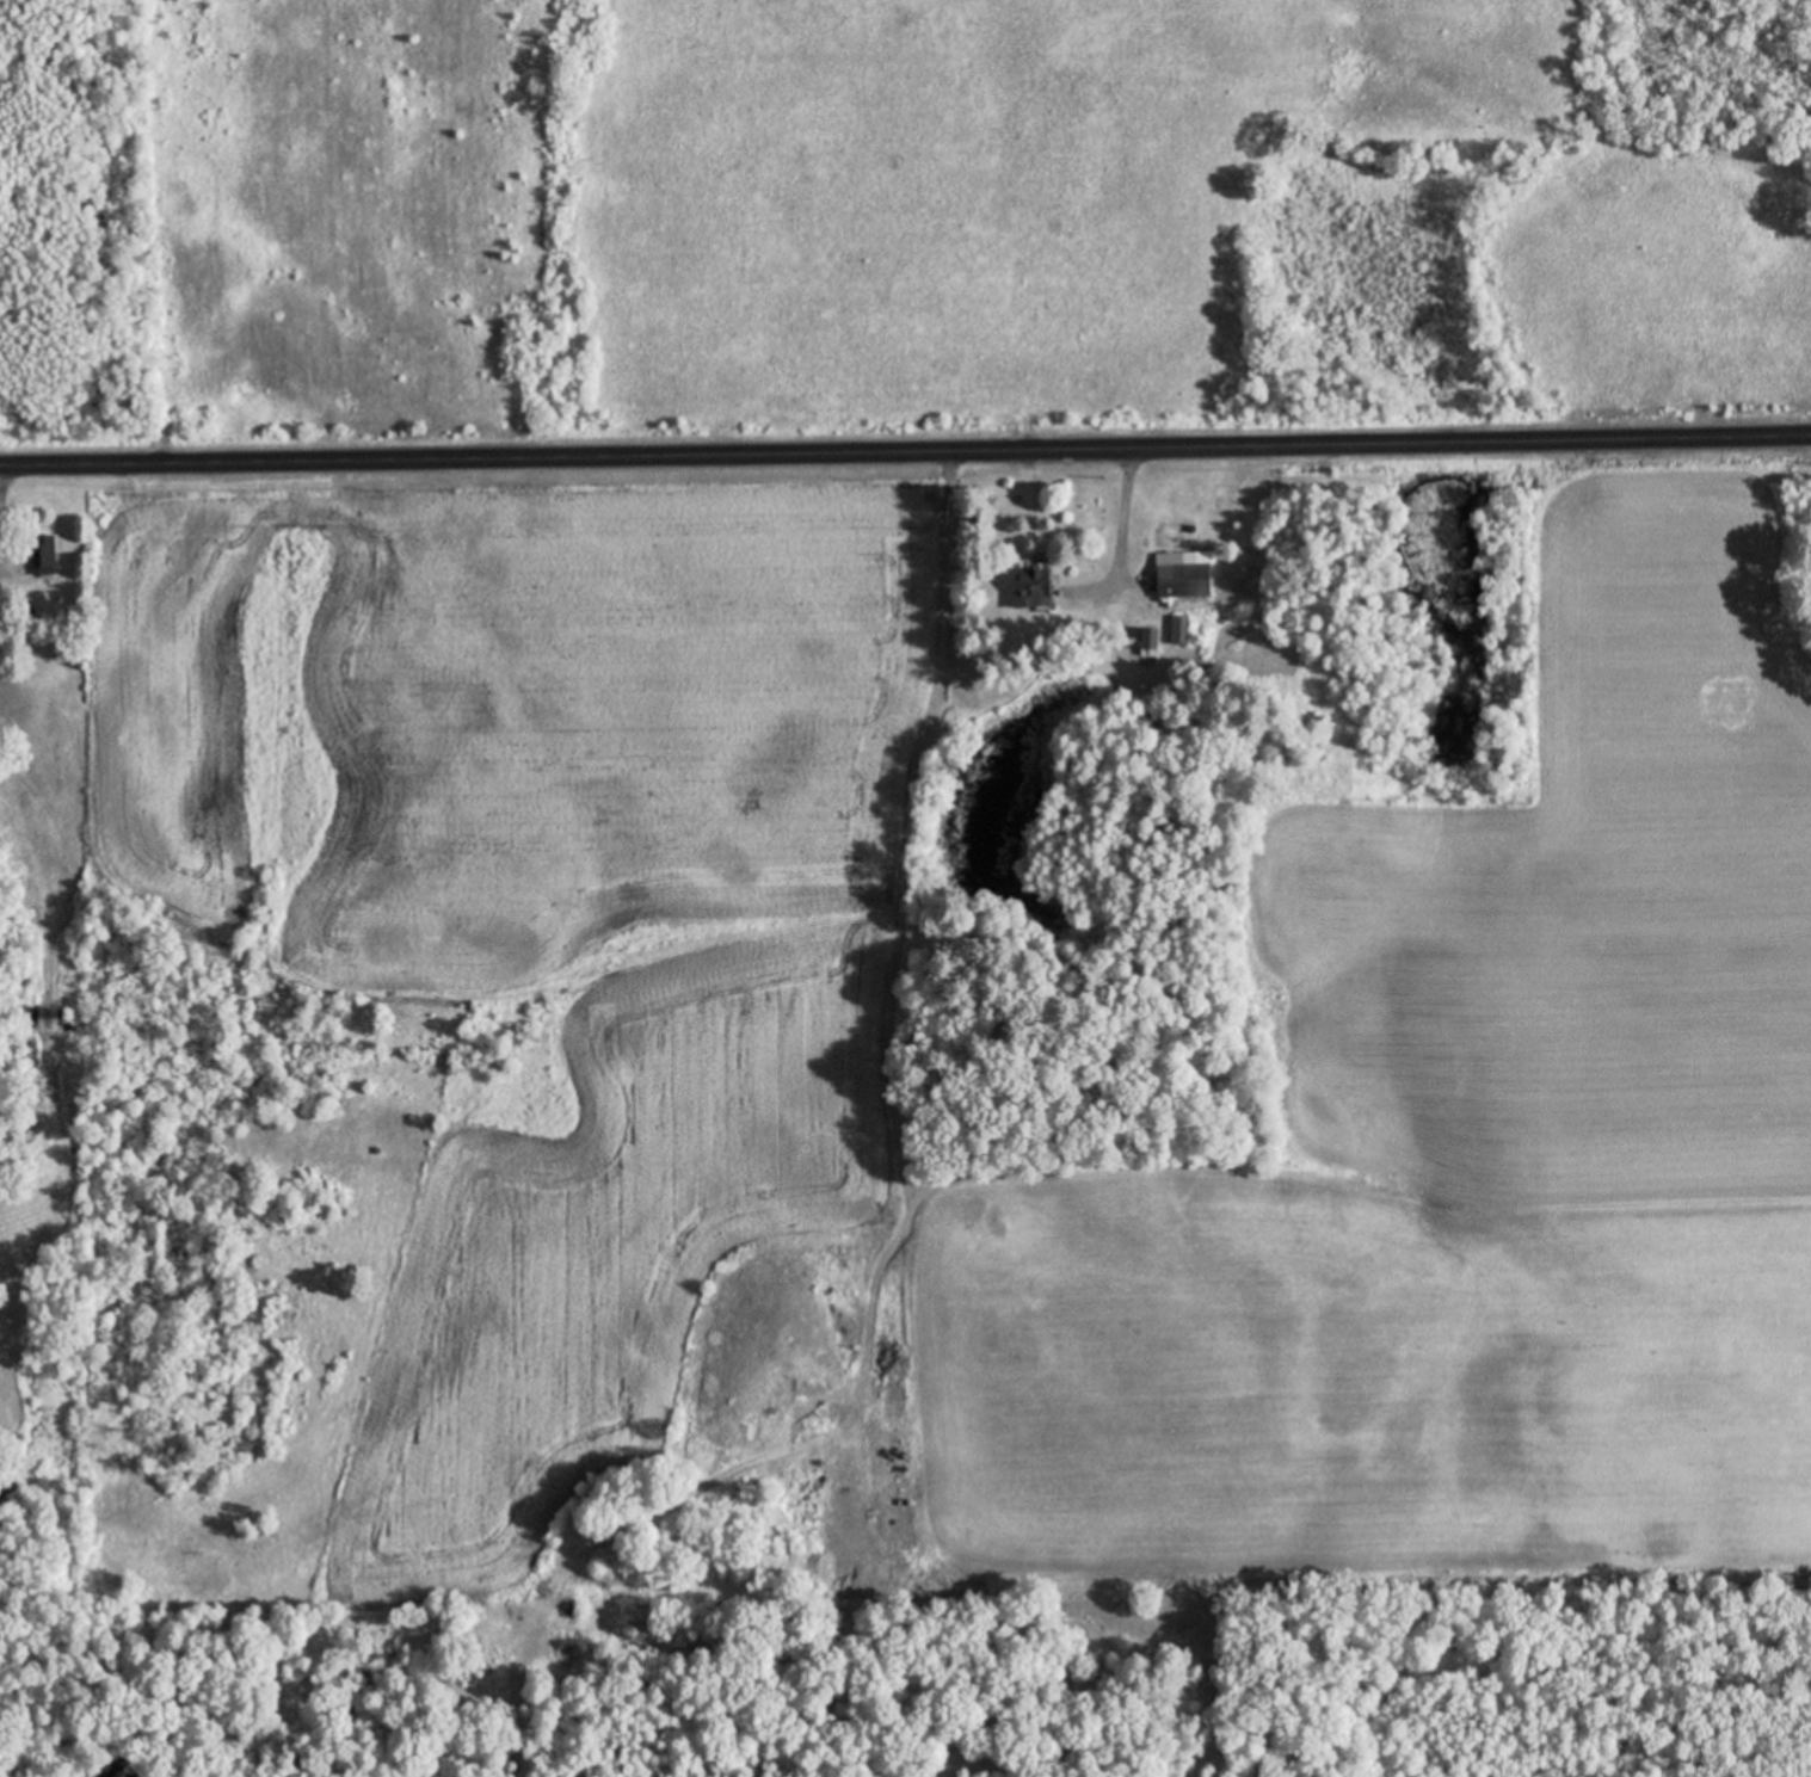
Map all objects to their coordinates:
road: (905, 453)
building: (42, 557)
building: (1181, 575)
building: (1028, 592)
building: (1178, 631)
building: (1146, 640)

